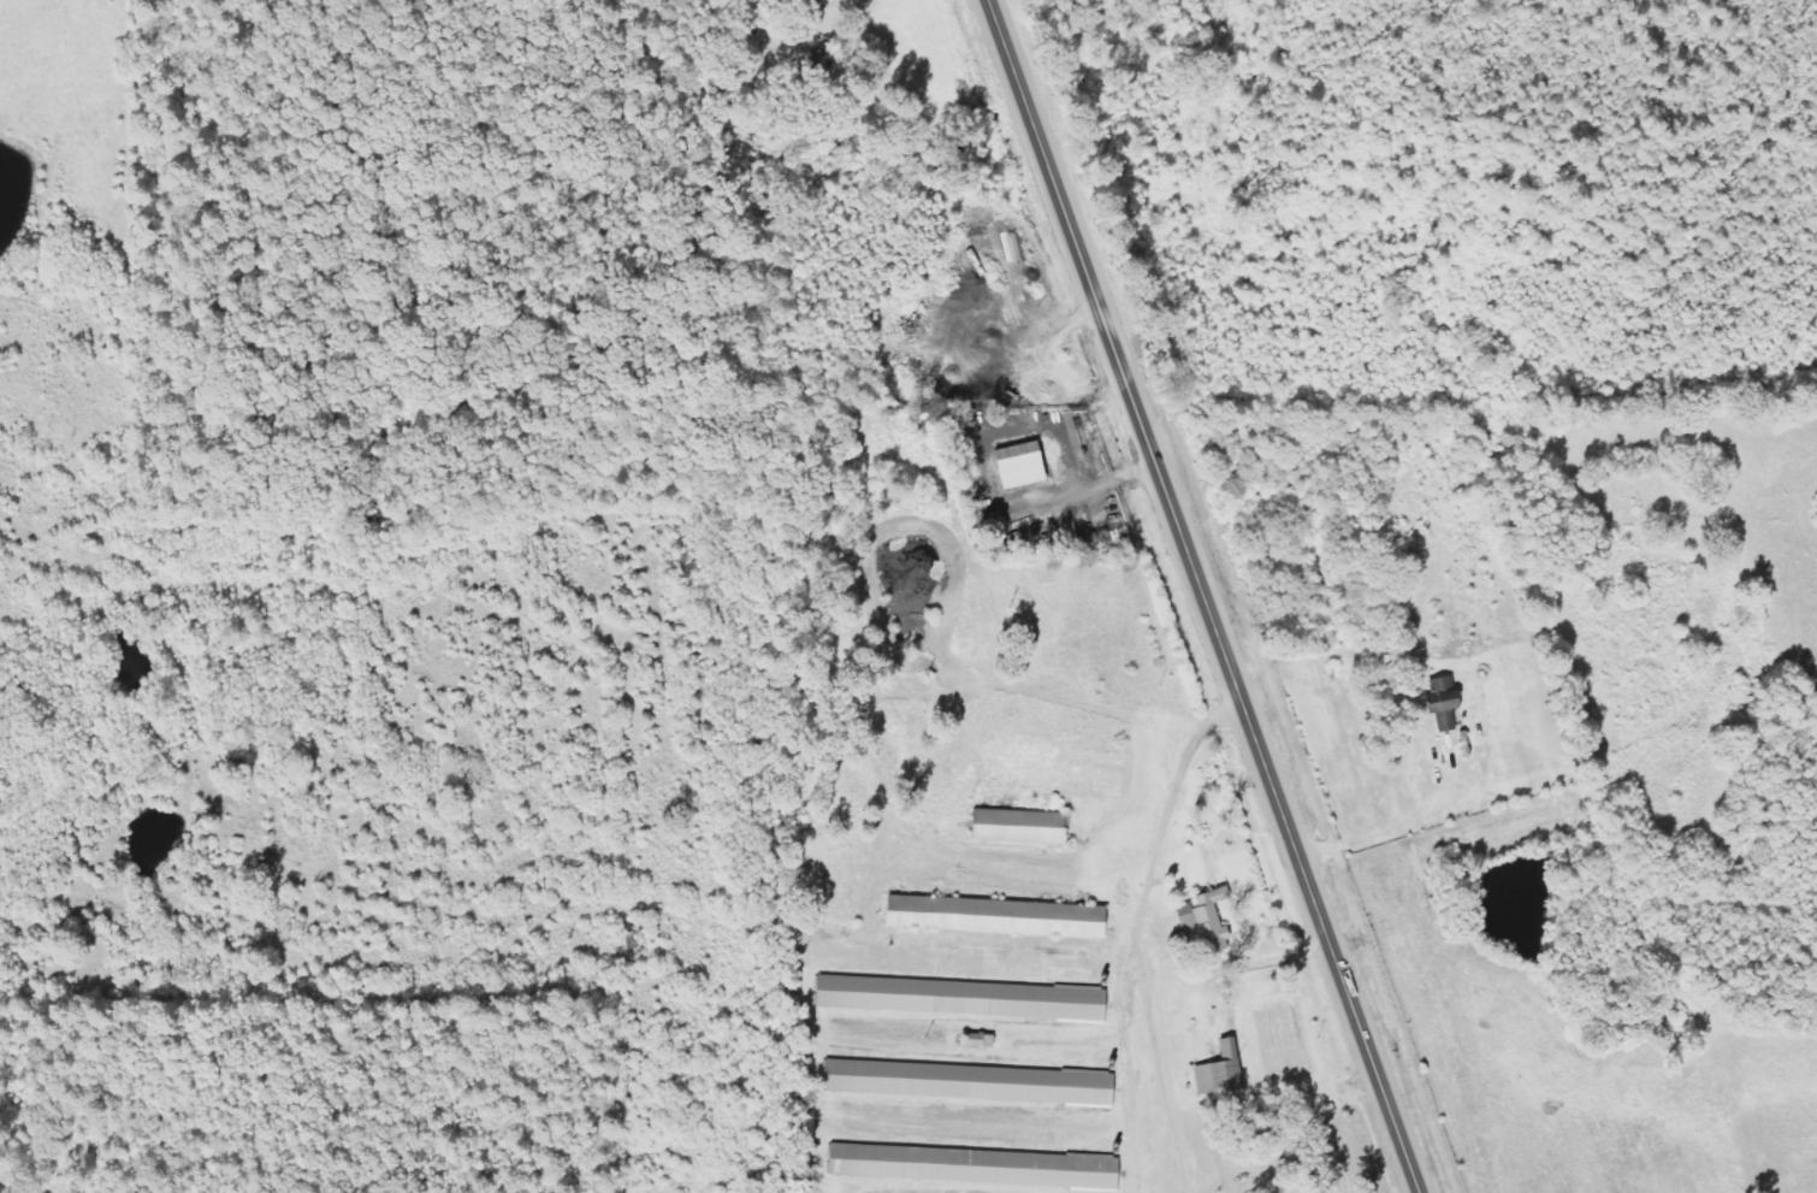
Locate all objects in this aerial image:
building: (1019, 465)
road: (1197, 596)
building: (1443, 704)
building: (1026, 826)
building: (1005, 916)
building: (1214, 920)
building: (969, 997)
building: (987, 1040)
building: (1227, 1070)
building: (976, 1082)
building: (981, 1165)

